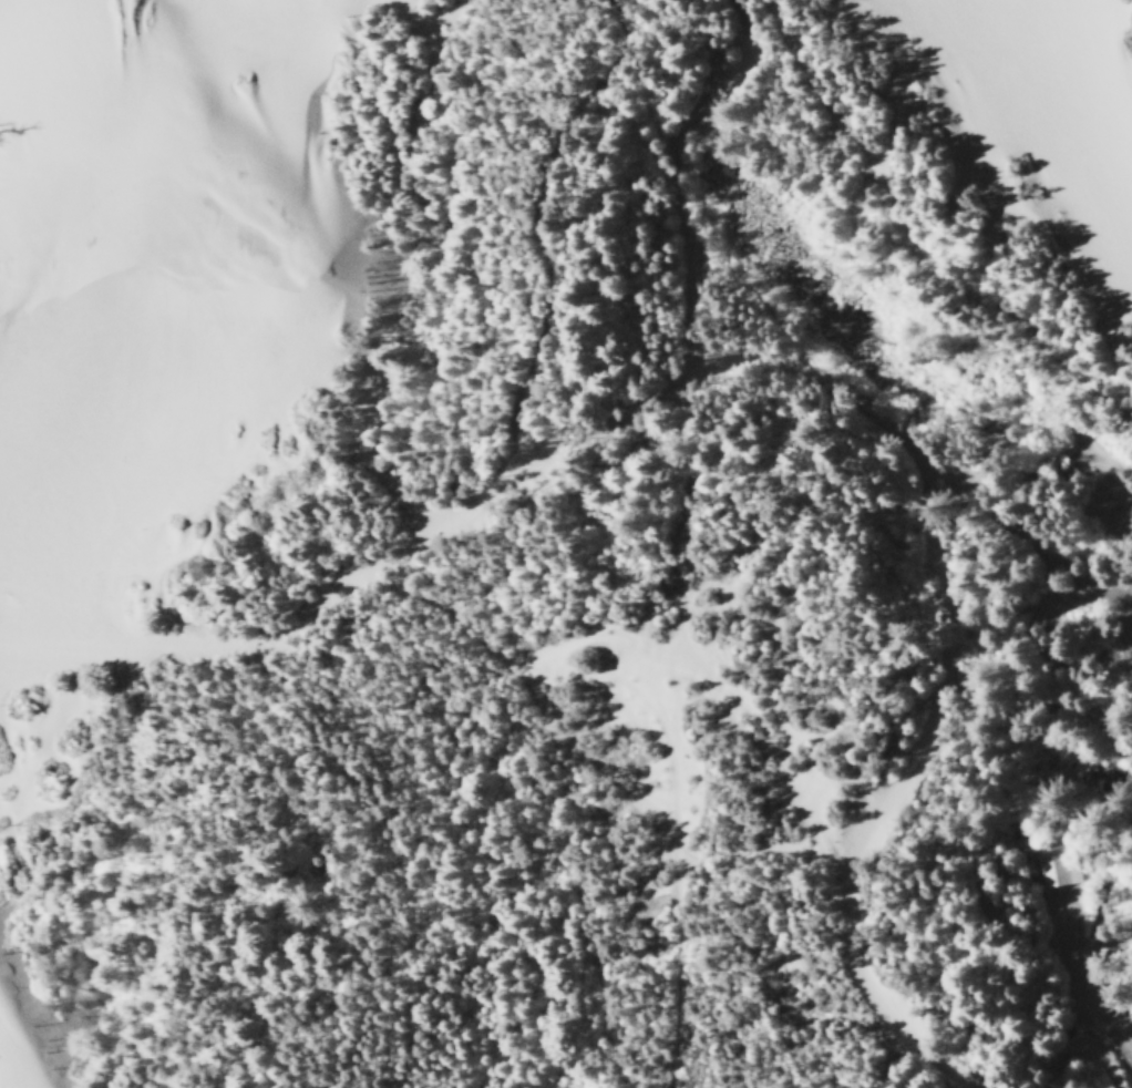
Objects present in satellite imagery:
building: (1051, 863)

